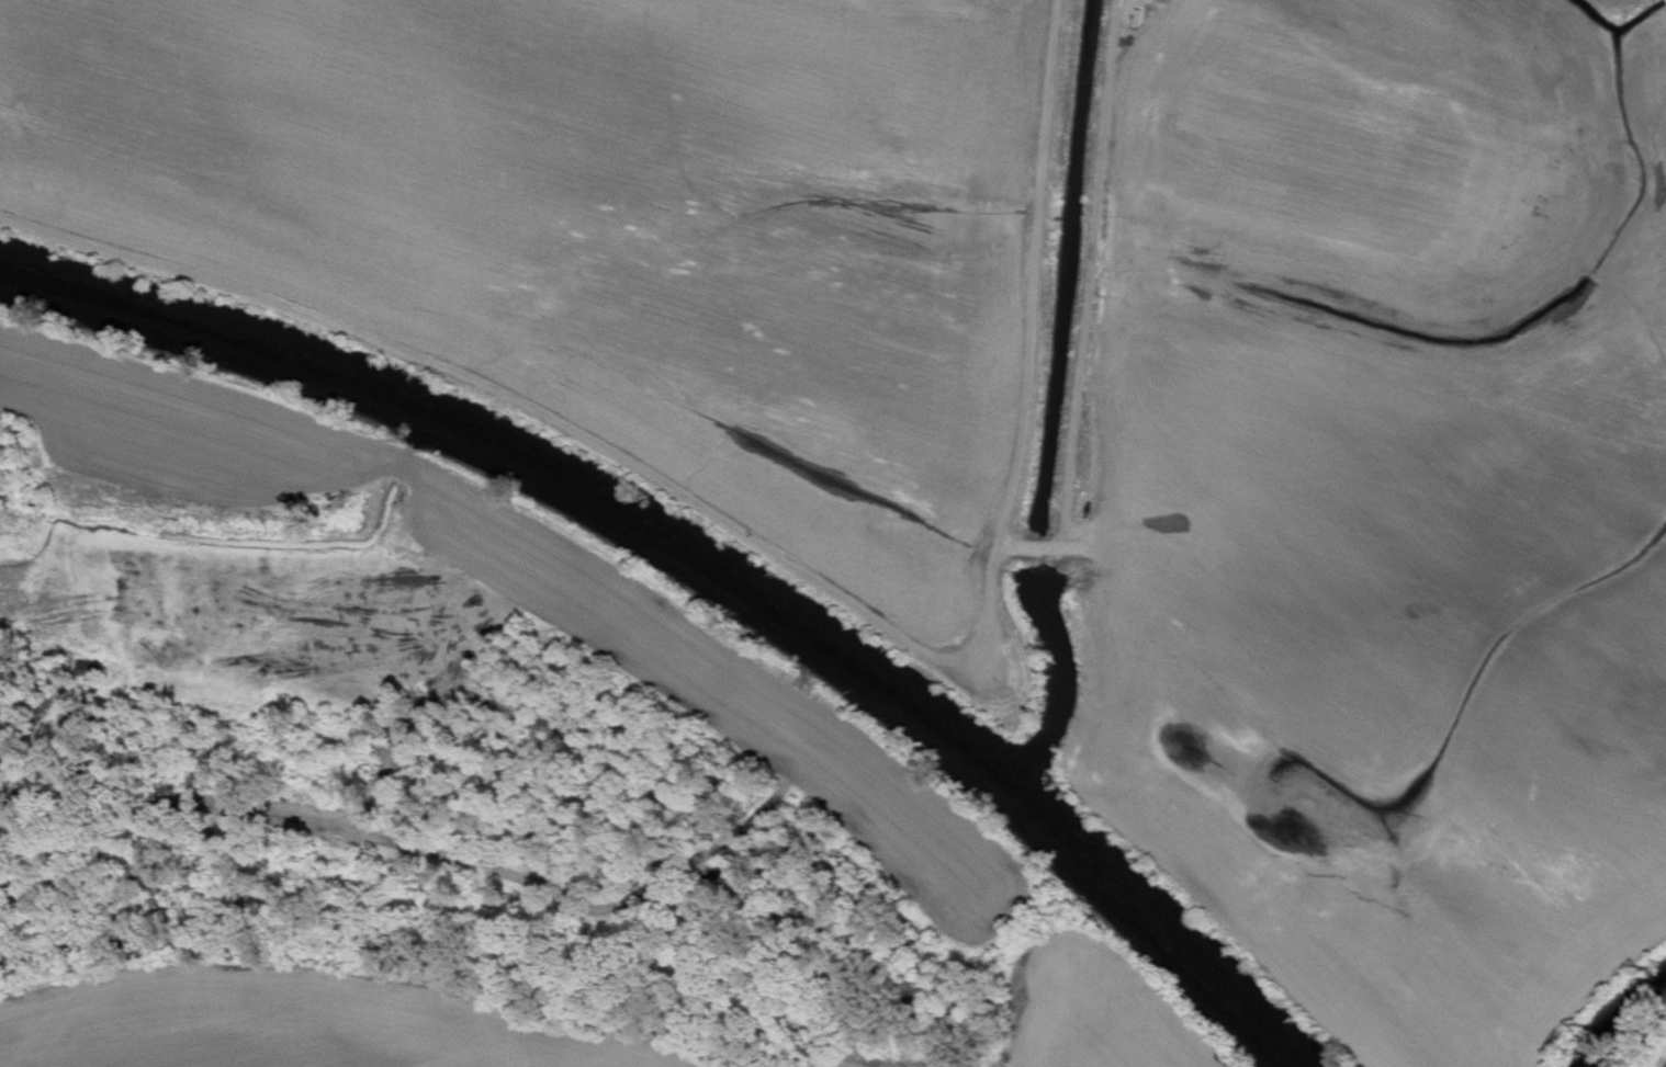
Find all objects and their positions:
road: (1011, 227)

